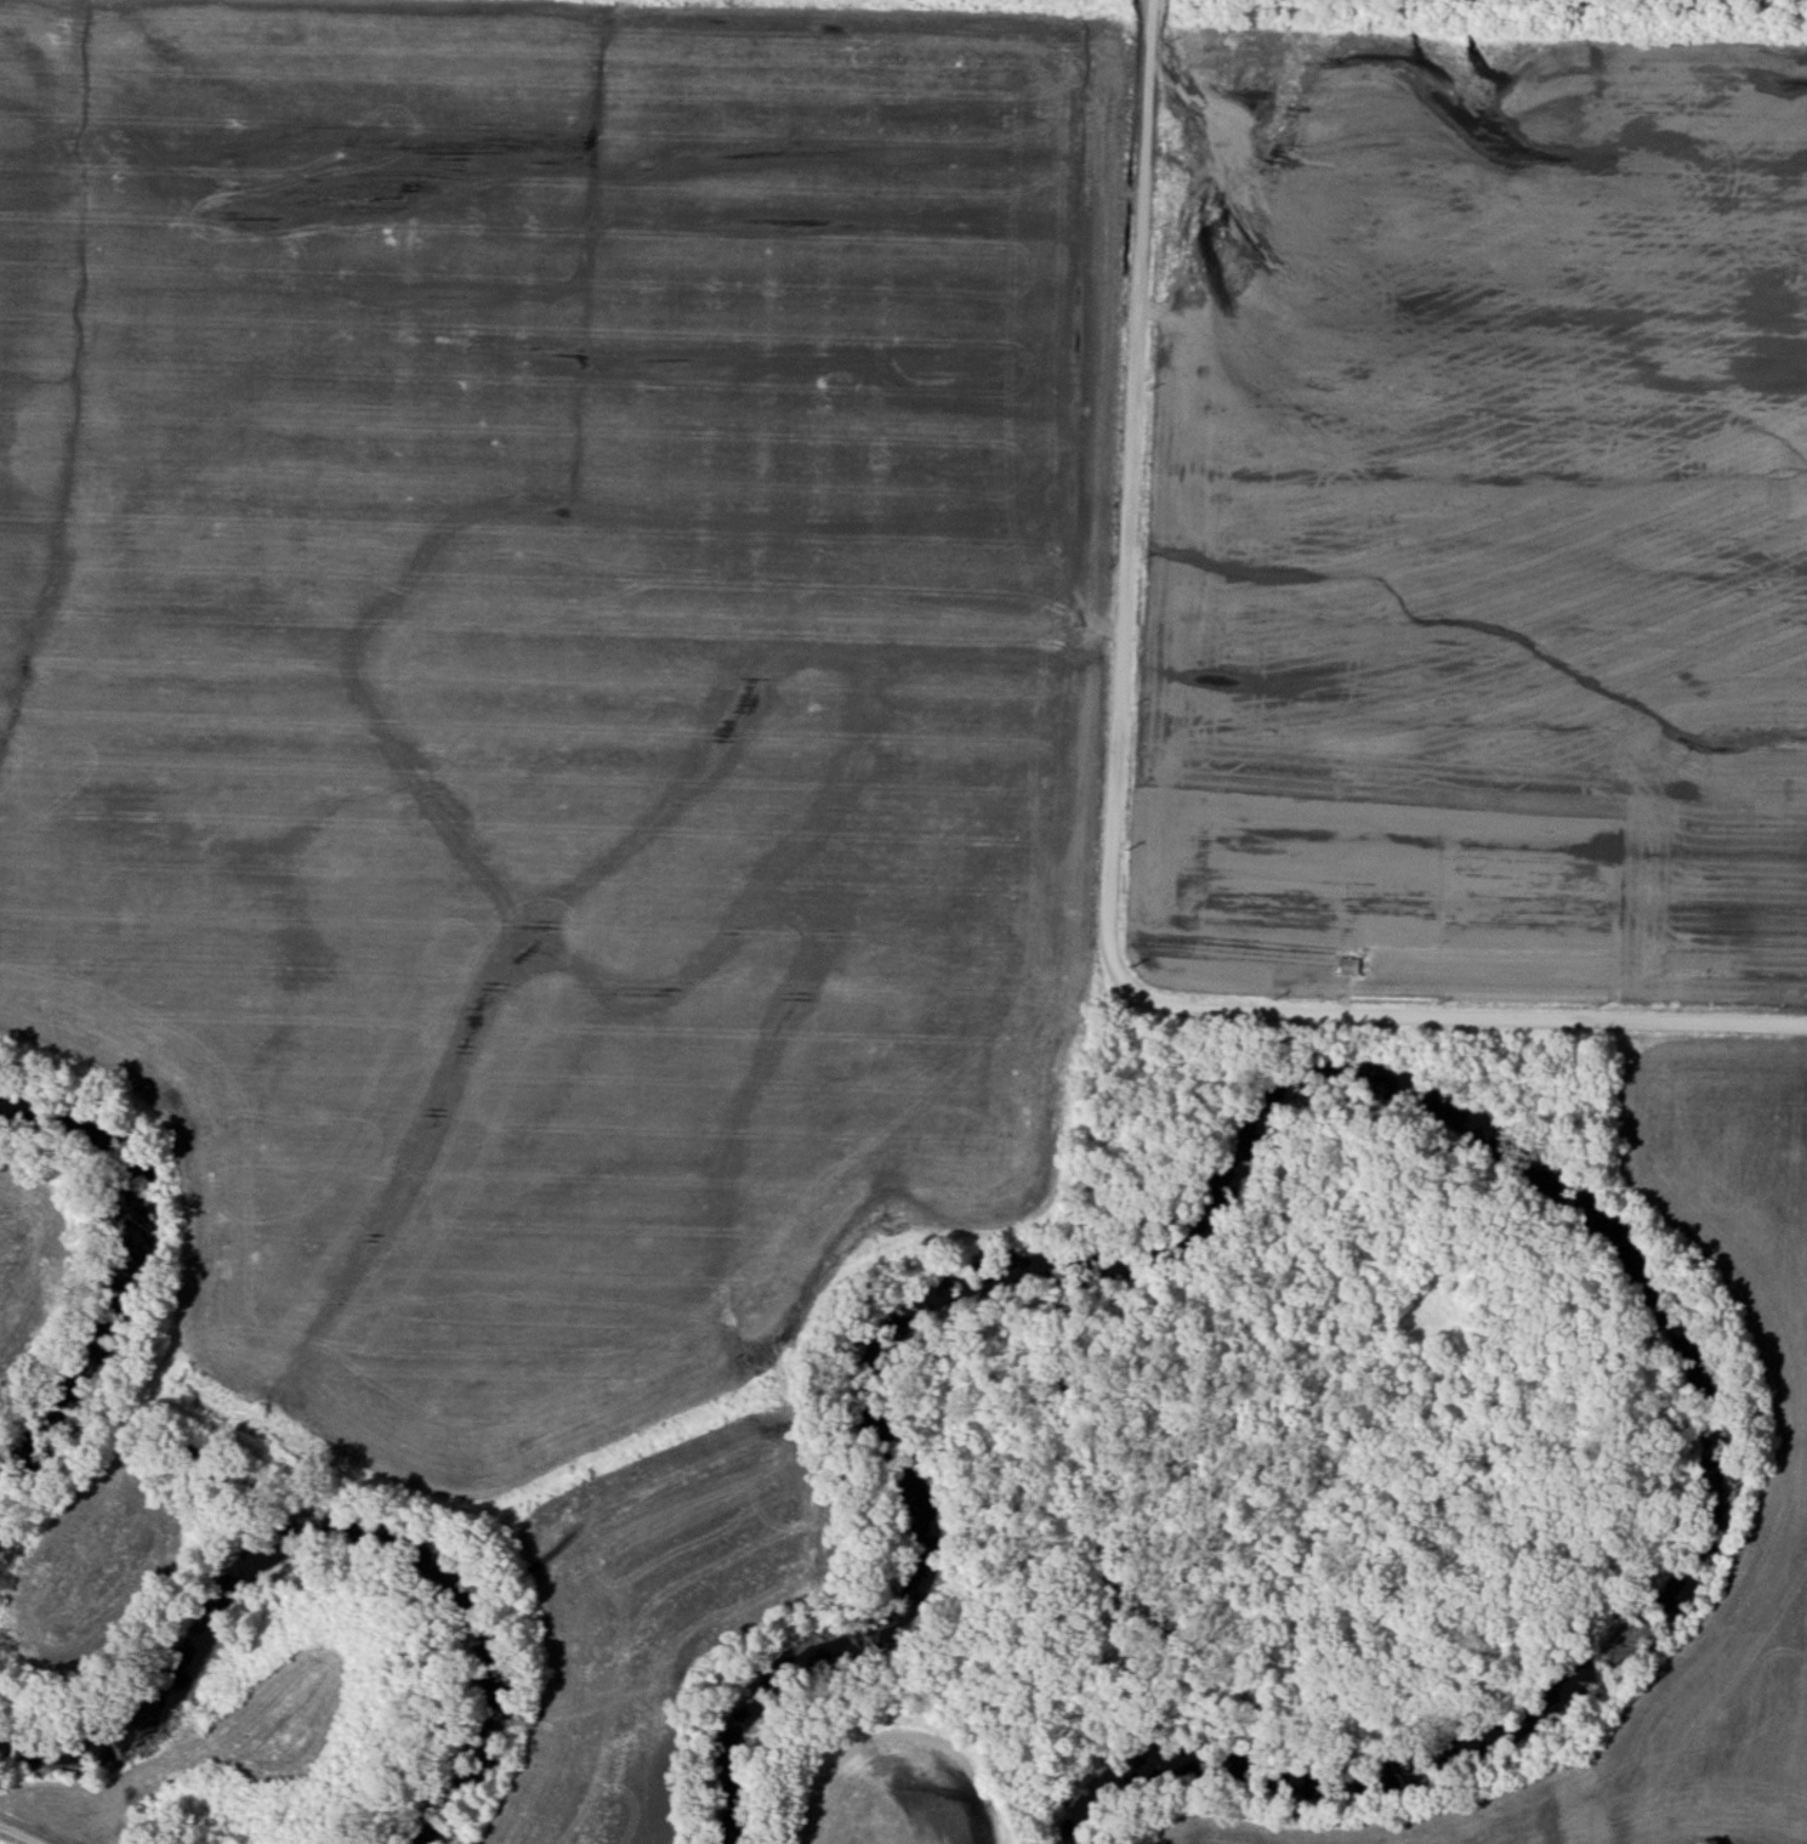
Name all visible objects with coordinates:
road: (1133, 497)
road: (1462, 1023)
river: (1471, 1124)
river: (118, 1278)
river: (313, 1542)

